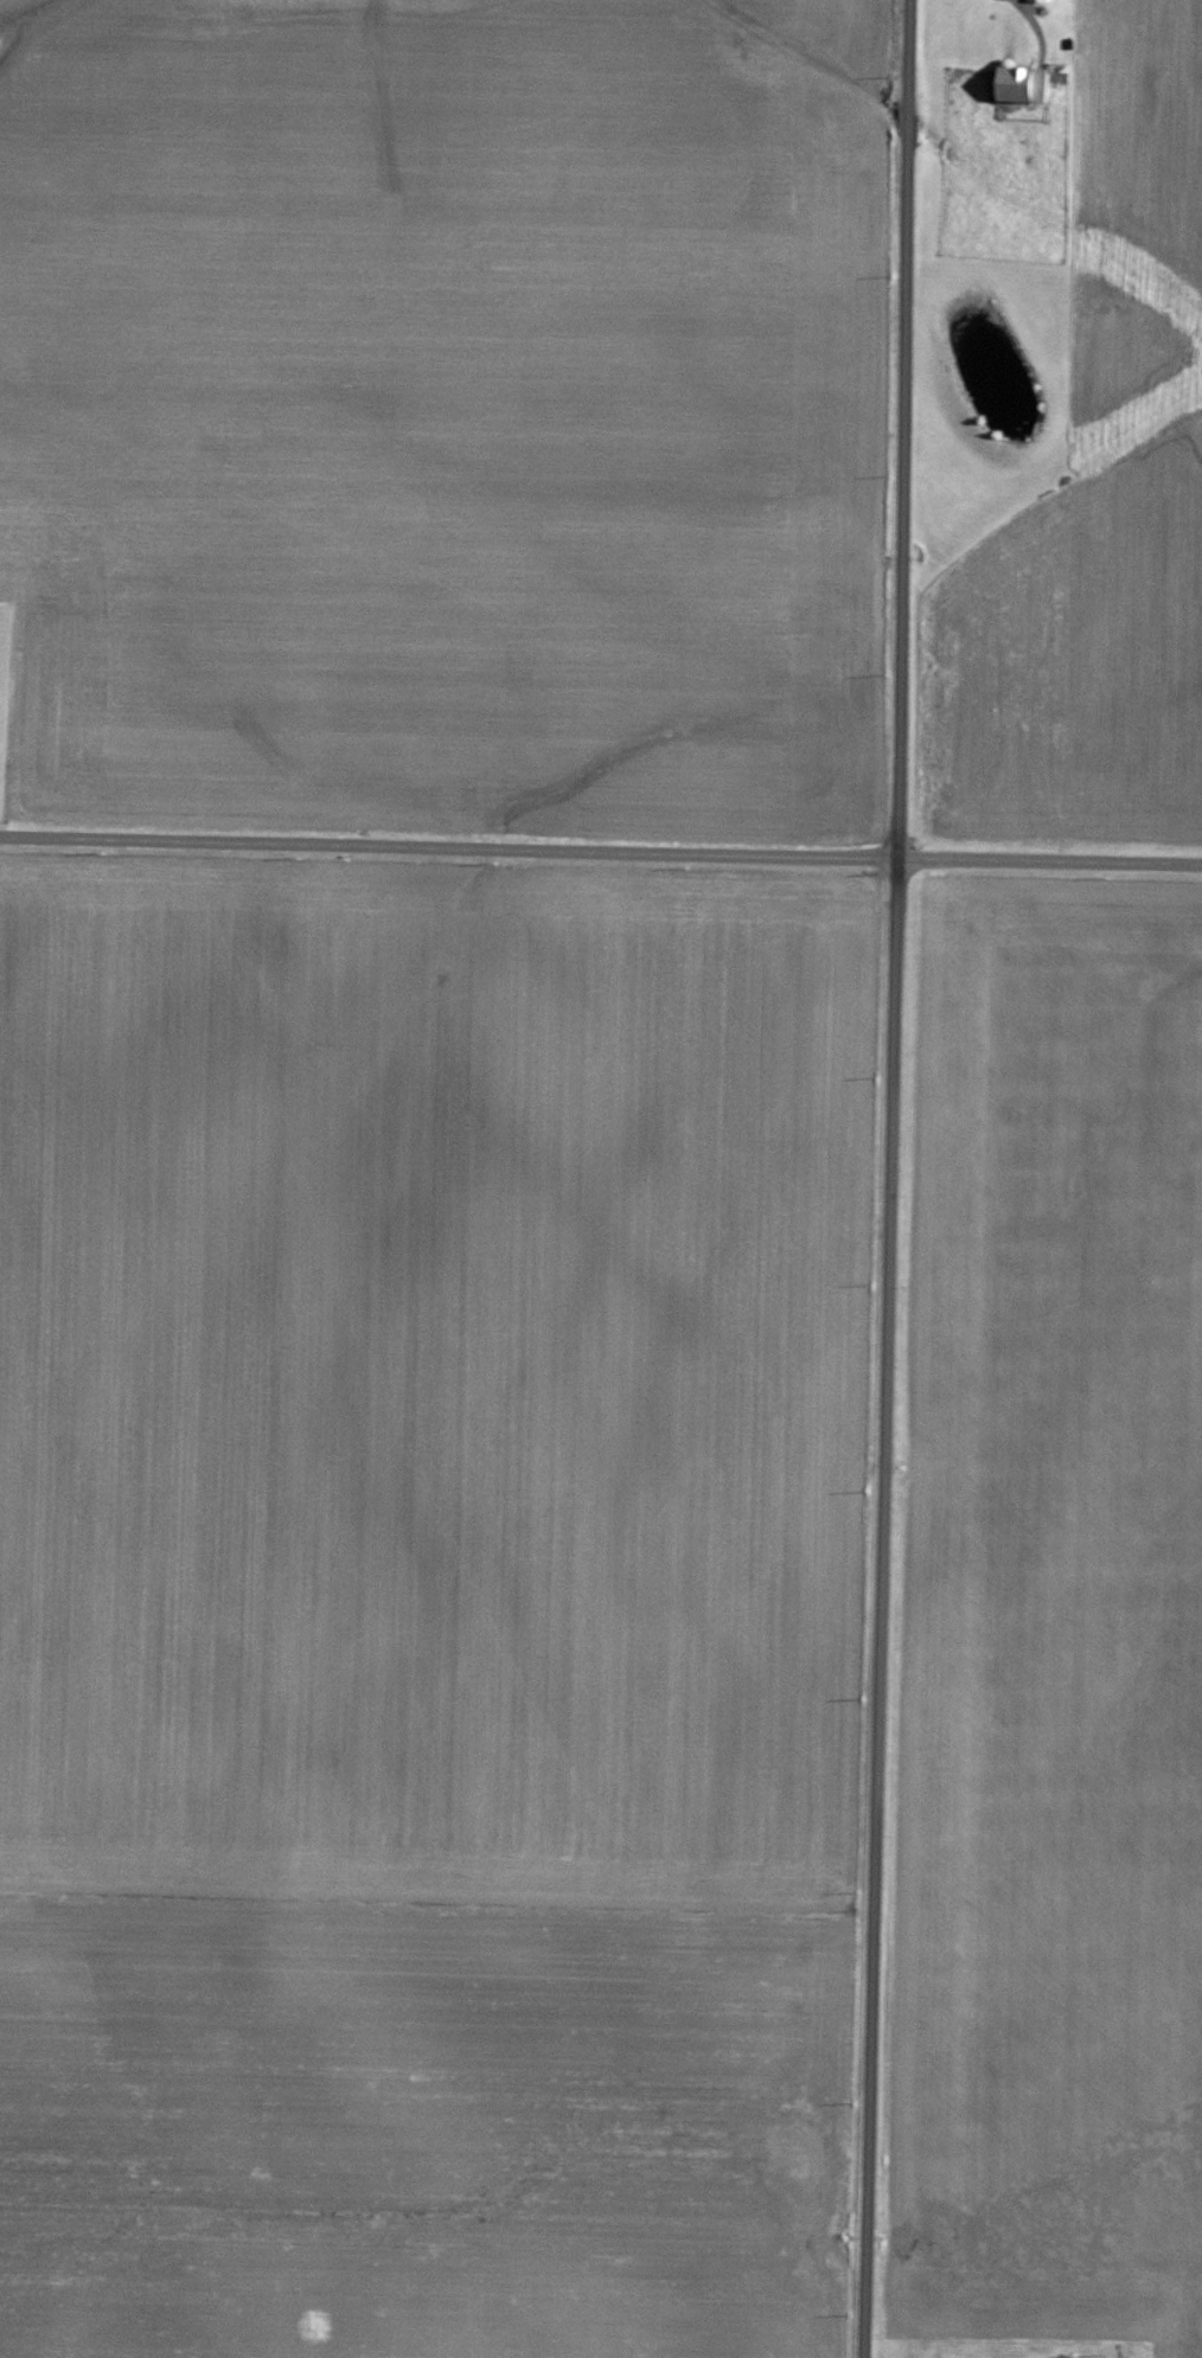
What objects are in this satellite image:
road: (1034, 17)
road: (600, 852)
road: (887, 1179)

